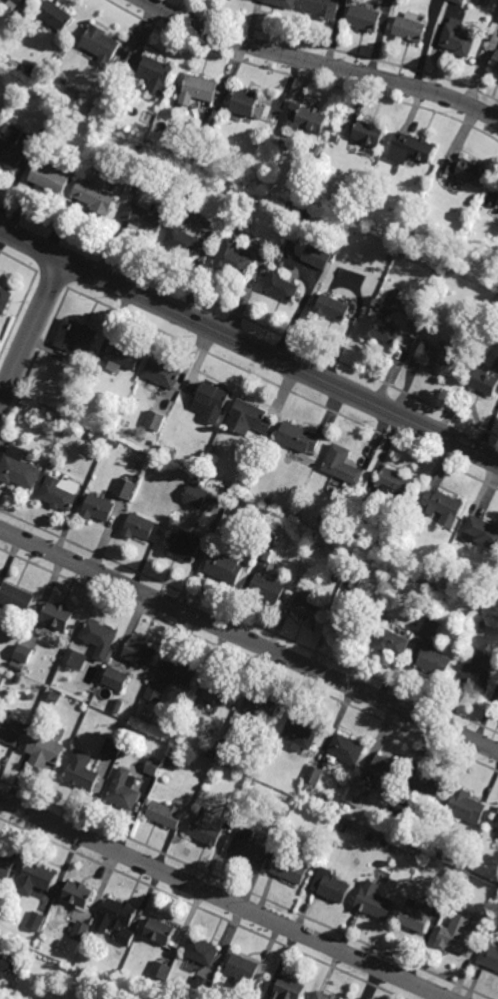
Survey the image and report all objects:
building: (460, 1)
building: (21, 3)
building: (283, 3)
building: (323, 8)
building: (56, 15)
building: (364, 18)
building: (410, 27)
building: (457, 37)
building: (102, 44)
building: (495, 61)
road: (319, 65)
building: (157, 76)
building: (199, 89)
building: (248, 104)
building: (96, 107)
building: (306, 119)
building: (206, 126)
building: (368, 133)
building: (12, 143)
building: (138, 148)
building: (415, 148)
building: (466, 170)
building: (50, 176)
building: (135, 189)
building: (297, 192)
building: (95, 194)
building: (497, 204)
building: (349, 216)
building: (145, 218)
building: (399, 233)
building: (183, 240)
building: (233, 257)
building: (316, 257)
building: (441, 273)
building: (282, 286)
building: (4, 298)
building: (378, 305)
building: (333, 306)
road: (31, 330)
building: (385, 330)
building: (74, 335)
road: (248, 346)
building: (121, 356)
building: (437, 357)
building: (162, 372)
building: (485, 383)
building: (213, 400)
building: (150, 417)
building: (249, 418)
building: (64, 419)
building: (90, 437)
building: (299, 437)
building: (117, 444)
building: (161, 448)
building: (342, 464)
building: (18, 468)
building: (156, 469)
building: (209, 474)
building: (197, 481)
building: (395, 486)
building: (125, 488)
building: (60, 492)
building: (196, 496)
building: (354, 497)
building: (268, 502)
building: (98, 508)
building: (441, 508)
building: (362, 518)
building: (142, 528)
building: (481, 532)
building: (353, 540)
building: (184, 546)
building: (267, 547)
building: (225, 567)
building: (305, 570)
building: (354, 578)
building: (432, 580)
building: (266, 589)
building: (430, 595)
building: (16, 597)
building: (308, 609)
building: (57, 615)
building: (494, 621)
building: (350, 625)
building: (431, 628)
building: (100, 639)
road: (249, 642)
building: (392, 643)
building: (23, 653)
building: (141, 653)
building: (74, 660)
building: (434, 662)
building: (17, 667)
building: (2, 670)
building: (181, 672)
building: (479, 672)
building: (1, 677)
building: (116, 679)
building: (16, 680)
building: (221, 691)
building: (154, 694)
building: (30, 697)
building: (54, 697)
building: (497, 700)
building: (117, 706)
building: (263, 707)
building: (189, 724)
building: (121, 728)
building: (299, 732)
building: (11, 733)
building: (170, 736)
building: (233, 740)
building: (111, 749)
building: (347, 749)
building: (44, 752)
building: (210, 753)
building: (169, 761)
building: (153, 767)
building: (387, 770)
building: (81, 773)
building: (313, 777)
building: (427, 785)
building: (122, 791)
building: (357, 794)
building: (347, 807)
building: (466, 807)
building: (234, 810)
building: (400, 810)
building: (165, 815)
building: (496, 822)
building: (277, 827)
building: (343, 828)
building: (288, 830)
building: (205, 832)
building: (497, 834)
building: (370, 837)
building: (385, 842)
building: (247, 847)
building: (439, 855)
building: (409, 857)
building: (6, 866)
building: (289, 868)
building: (35, 879)
building: (330, 885)
building: (77, 894)
building: (441, 898)
road: (222, 899)
building: (374, 901)
building: (118, 913)
building: (416, 915)
building: (480, 920)
building: (34, 921)
building: (159, 931)
building: (458, 931)
building: (80, 932)
building: (125, 937)
building: (202, 950)
building: (489, 953)
building: (242, 969)
building: (159, 971)
building: (201, 988)
building: (288, 988)
building: (251, 995)
building: (324, 995)

